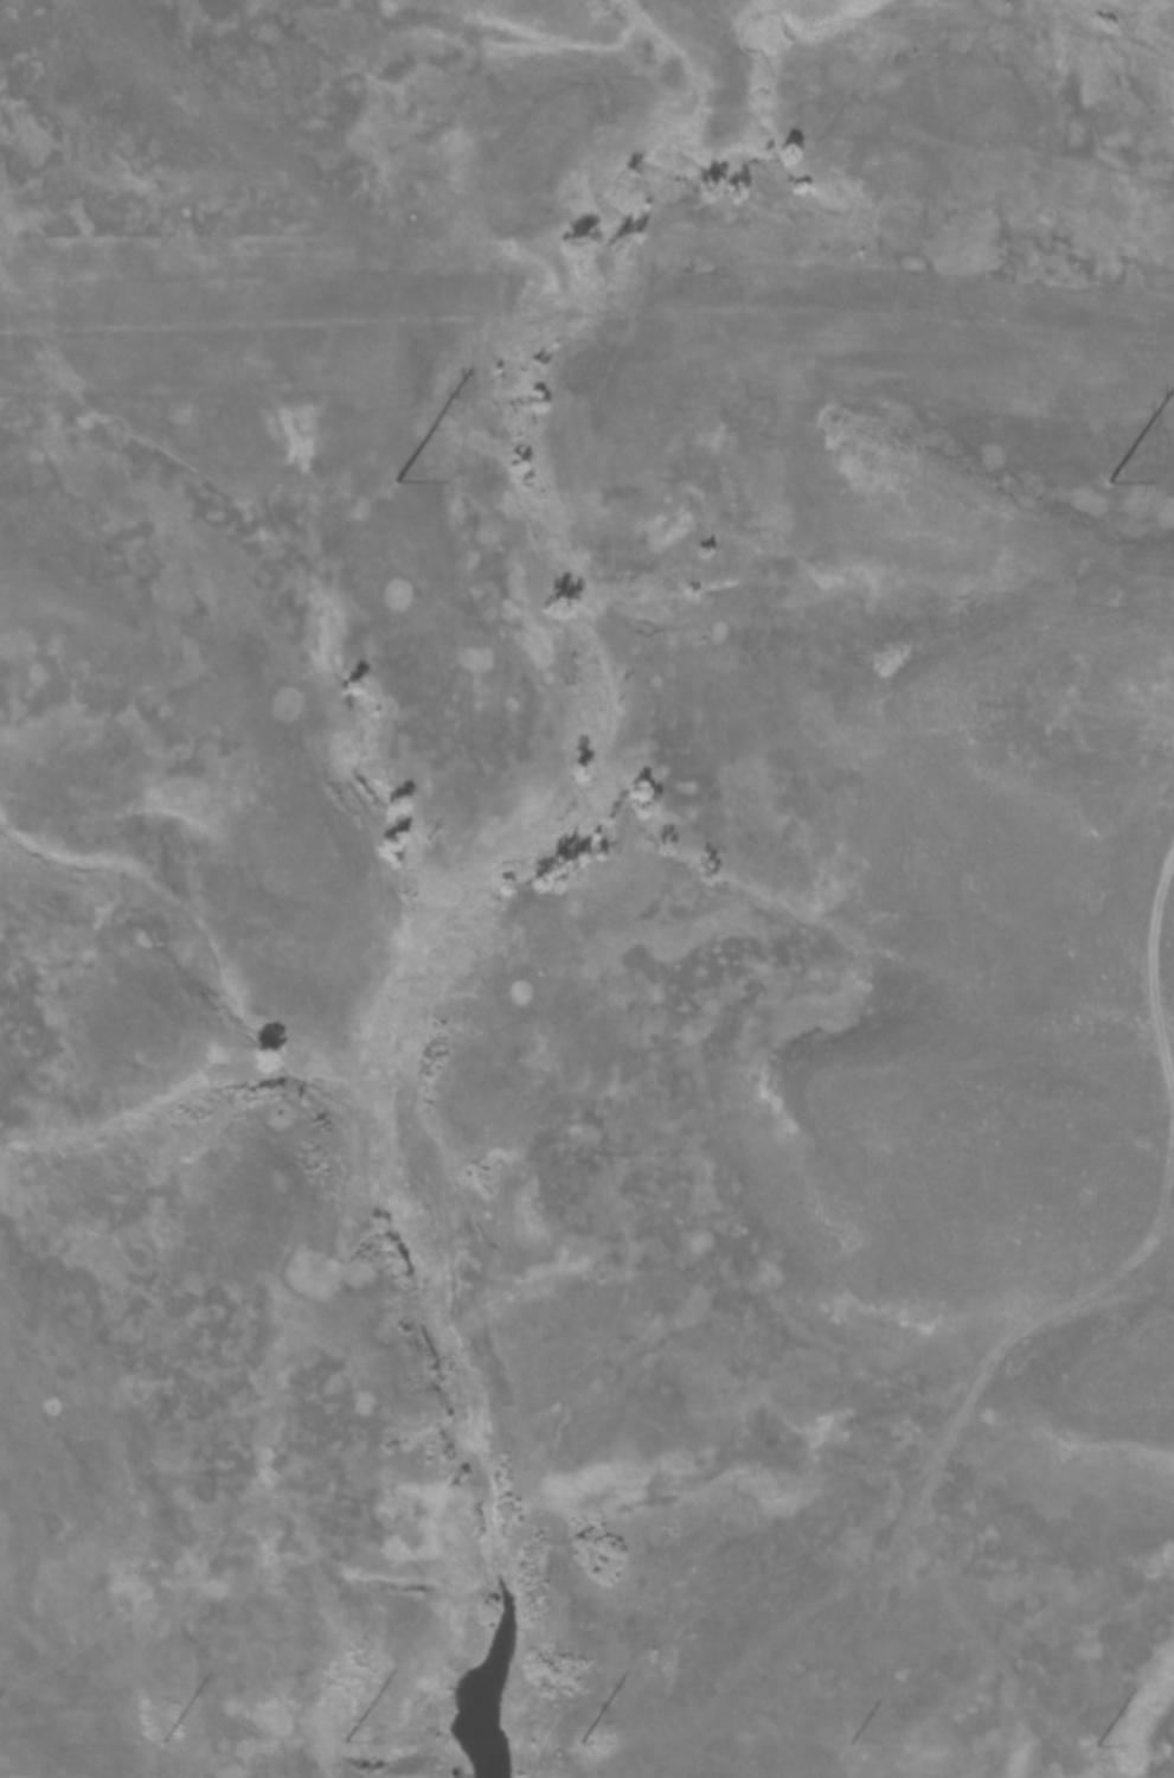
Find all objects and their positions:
power tower: (396, 480)
power tower: (1098, 495)
quarry: (1077, 703)

